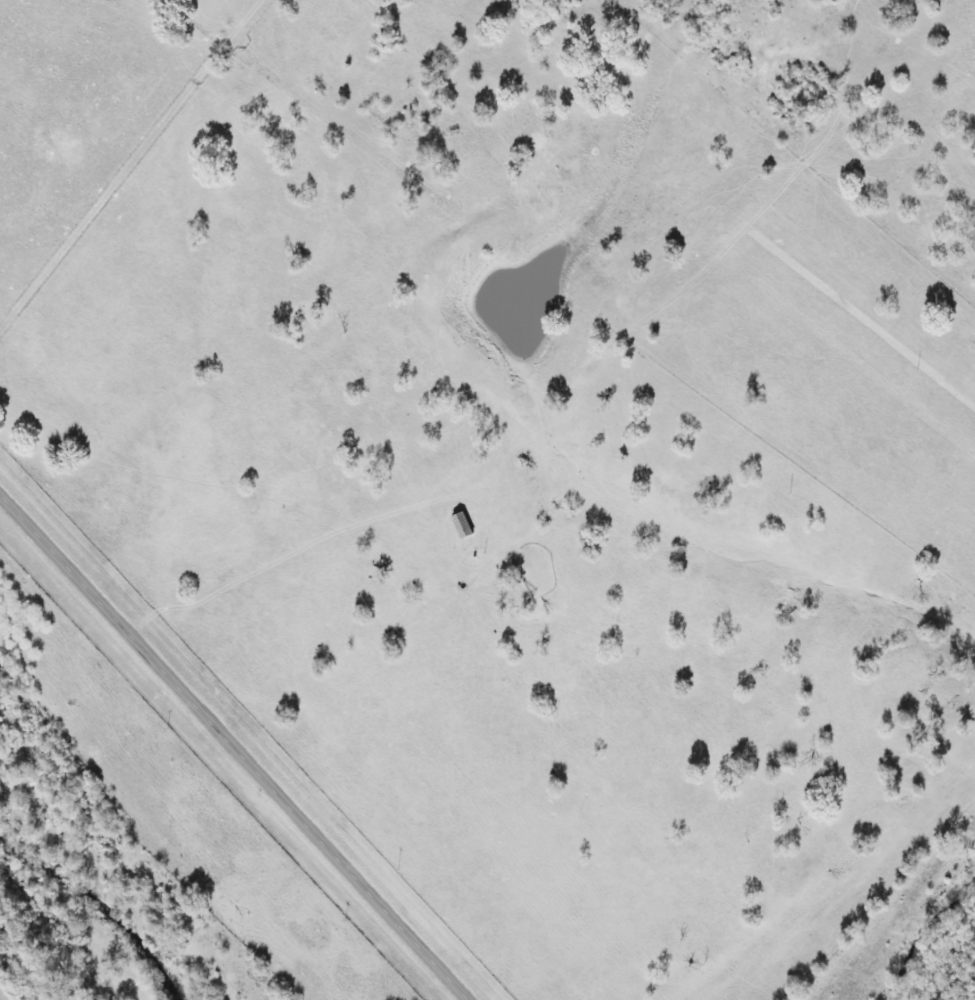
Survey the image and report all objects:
road: (604, 391)
building: (464, 526)
road: (236, 748)

